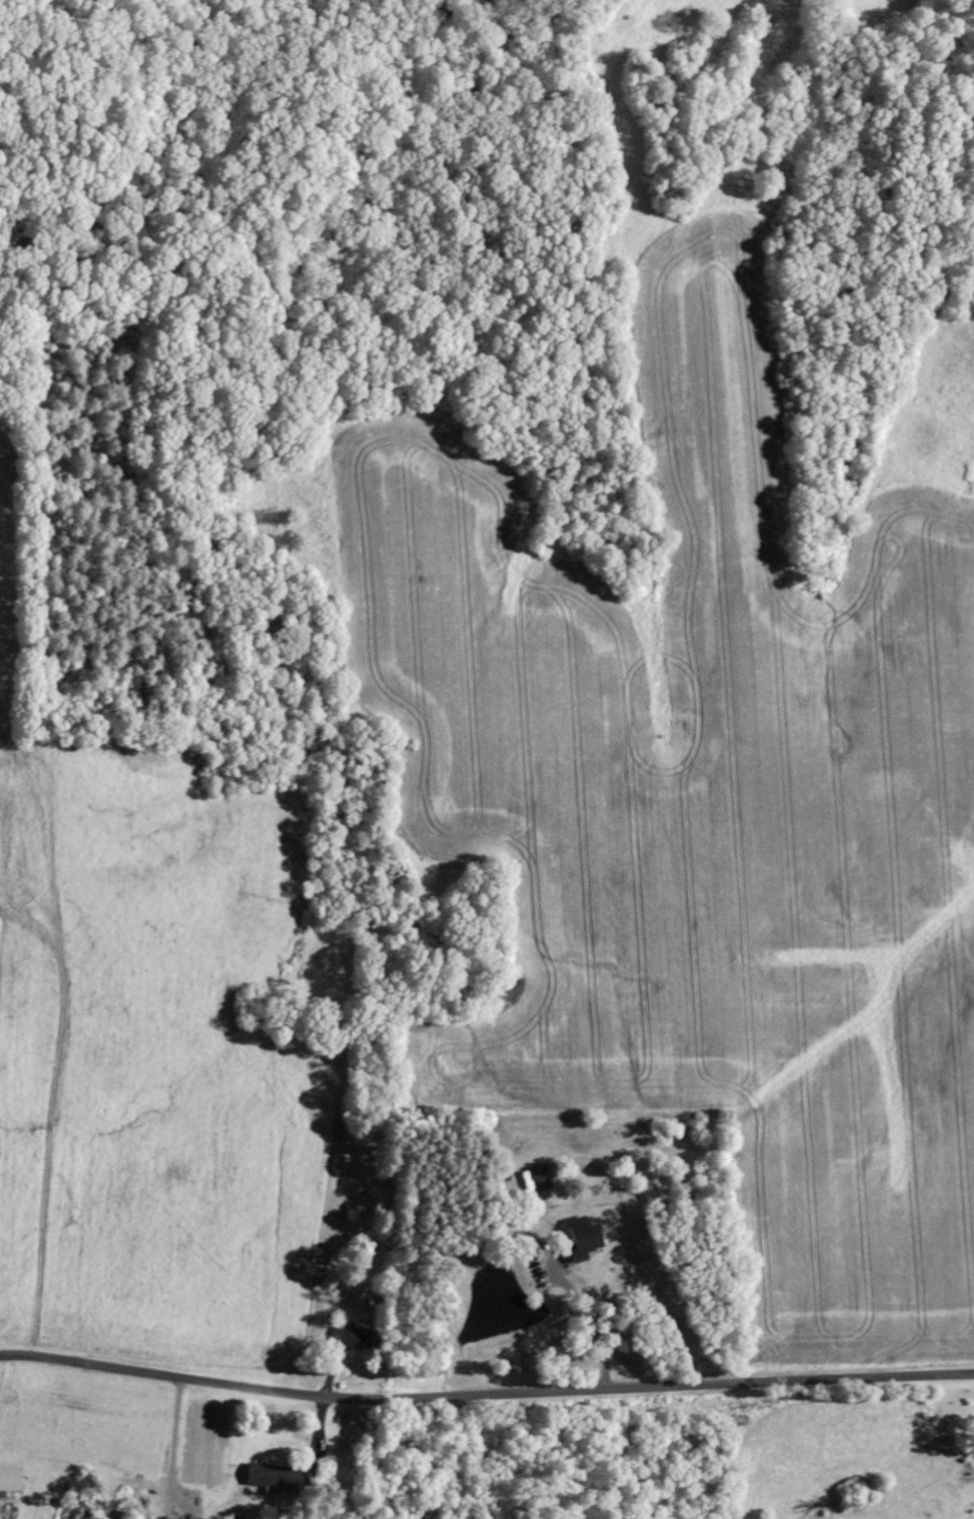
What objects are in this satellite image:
building: (540, 1179)
building: (581, 1238)
building: (349, 1337)
road: (485, 1395)
building: (269, 1478)
building: (9, 1482)

